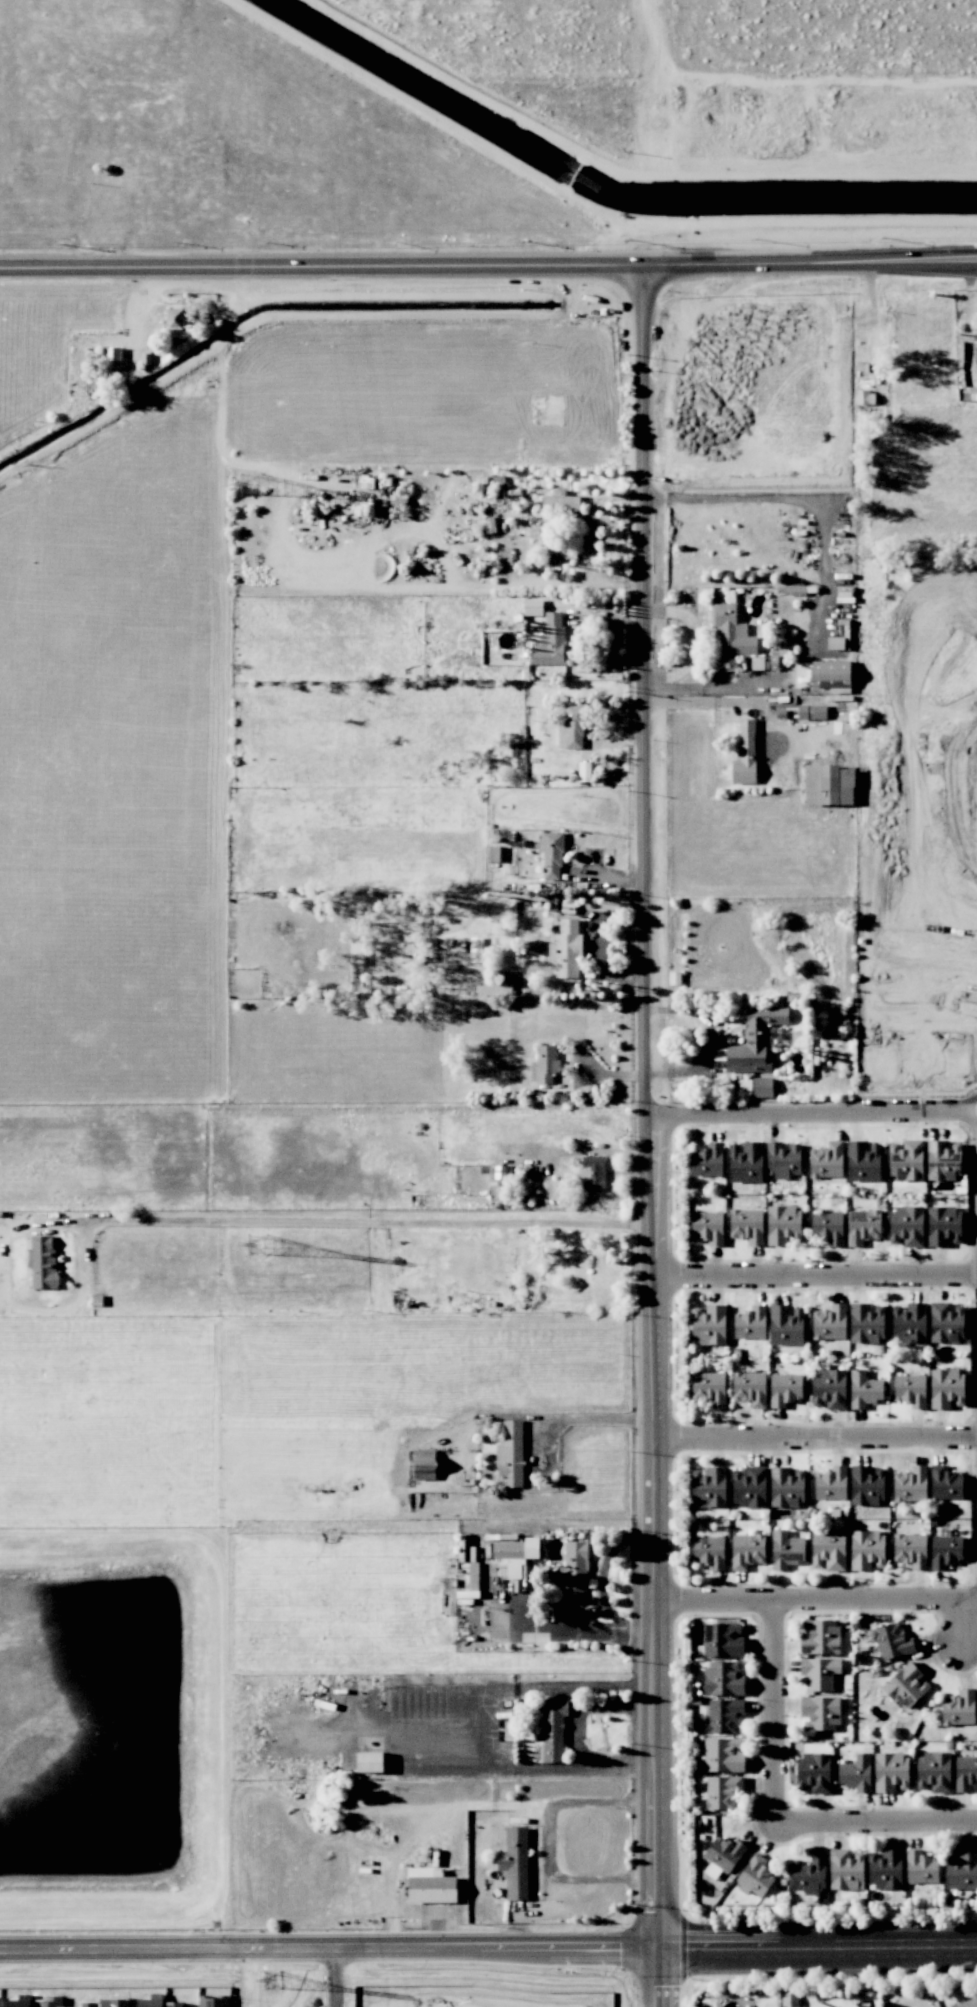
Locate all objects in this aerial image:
road: (808, 263)
road: (320, 266)
building: (174, 322)
road: (873, 323)
building: (110, 360)
building: (865, 397)
power tower: (246, 486)
building: (501, 489)
building: (560, 503)
road: (823, 581)
building: (794, 589)
building: (731, 636)
road: (695, 640)
building: (551, 642)
building: (811, 712)
building: (574, 726)
building: (561, 734)
building: (745, 754)
building: (828, 785)
building: (552, 855)
building: (566, 949)
building: (357, 951)
building: (496, 984)
road: (712, 1039)
building: (755, 1041)
building: (544, 1064)
building: (755, 1087)
road: (653, 1104)
road: (815, 1117)
building: (943, 1159)
building: (707, 1160)
building: (783, 1160)
building: (826, 1160)
building: (906, 1160)
building: (863, 1161)
building: (746, 1162)
building: (503, 1173)
building: (592, 1173)
road: (368, 1224)
building: (783, 1225)
building: (943, 1225)
building: (747, 1226)
building: (863, 1226)
building: (906, 1226)
building: (708, 1227)
building: (827, 1227)
power tower: (254, 1247)
building: (42, 1262)
road: (815, 1277)
building: (750, 1323)
building: (830, 1323)
building: (866, 1323)
building: (909, 1323)
building: (947, 1323)
building: (708, 1324)
building: (786, 1325)
building: (709, 1388)
building: (750, 1389)
building: (785, 1389)
building: (829, 1389)
building: (863, 1389)
building: (946, 1389)
building: (910, 1390)
road: (524, 1414)
road: (816, 1440)
building: (510, 1455)
building: (425, 1464)
building: (945, 1482)
building: (831, 1484)
building: (910, 1484)
building: (867, 1485)
building: (750, 1486)
building: (787, 1486)
building: (709, 1487)
building: (786, 1550)
building: (828, 1550)
building: (867, 1550)
building: (910, 1550)
building: (945, 1550)
building: (747, 1551)
building: (709, 1552)
building: (515, 1555)
building: (574, 1572)
road: (816, 1605)
road: (958, 1623)
building: (820, 1637)
building: (893, 1642)
building: (820, 1672)
building: (724, 1678)
building: (907, 1688)
building: (958, 1708)
building: (820, 1713)
building: (723, 1715)
road: (774, 1715)
building: (553, 1730)
road: (579, 1735)
building: (723, 1755)
building: (369, 1762)
building: (814, 1772)
building: (891, 1772)
building: (933, 1772)
building: (856, 1773)
building: (965, 1773)
building: (722, 1791)
road: (876, 1824)
road: (548, 1839)
building: (723, 1856)
building: (514, 1863)
building: (920, 1867)
building: (885, 1869)
building: (961, 1869)
building: (809, 1876)
building: (755, 1877)
building: (430, 1886)
road: (817, 1942)
road: (328, 1946)
road: (657, 1975)
road: (252, 1976)
road: (341, 1976)
power tower: (269, 1980)
building: (213, 2001)
building: (150, 2003)
building: (174, 2003)
building: (967, 2003)
building: (816, 2004)
building: (802, 2006)

